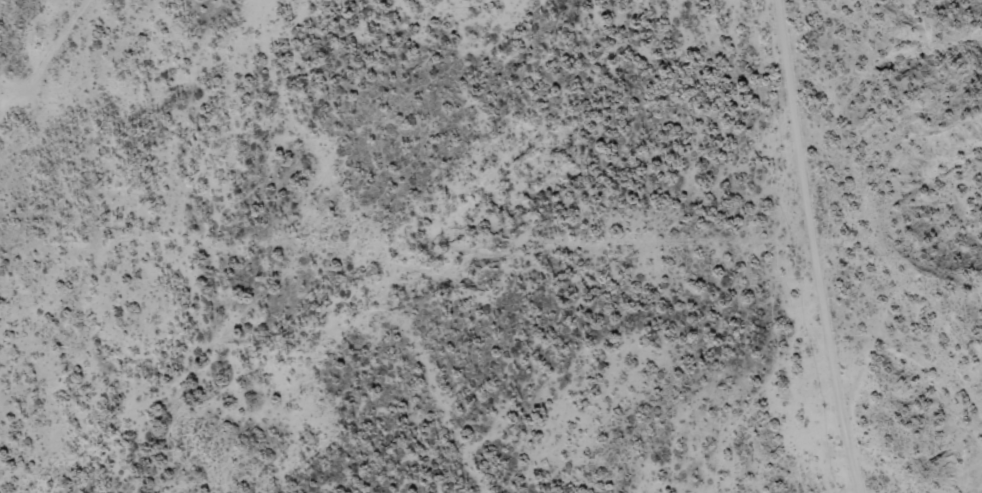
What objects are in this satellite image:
road: (829, 247)

